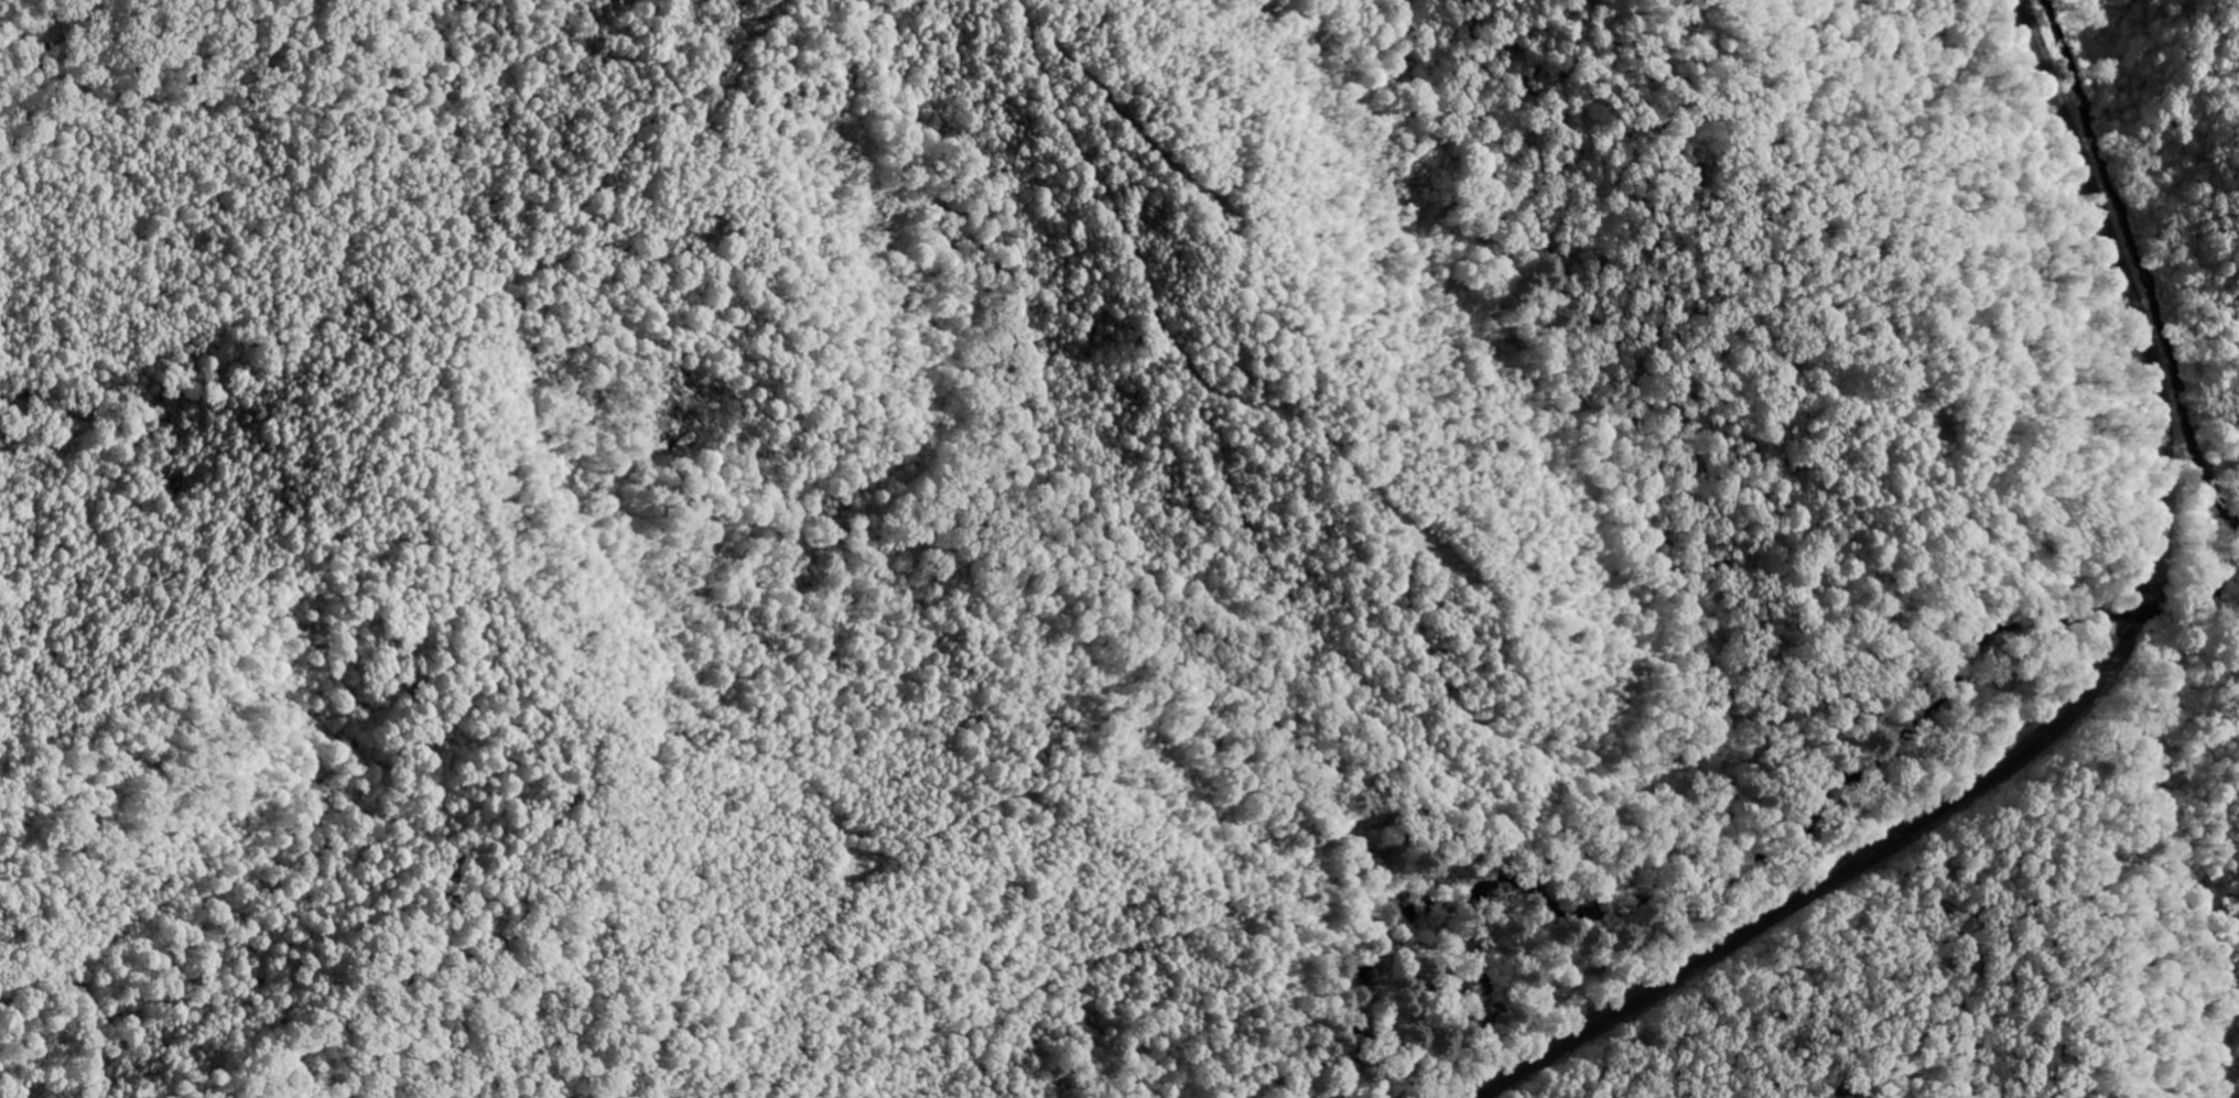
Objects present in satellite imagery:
road: (864, 260)
railway: (2091, 689)

